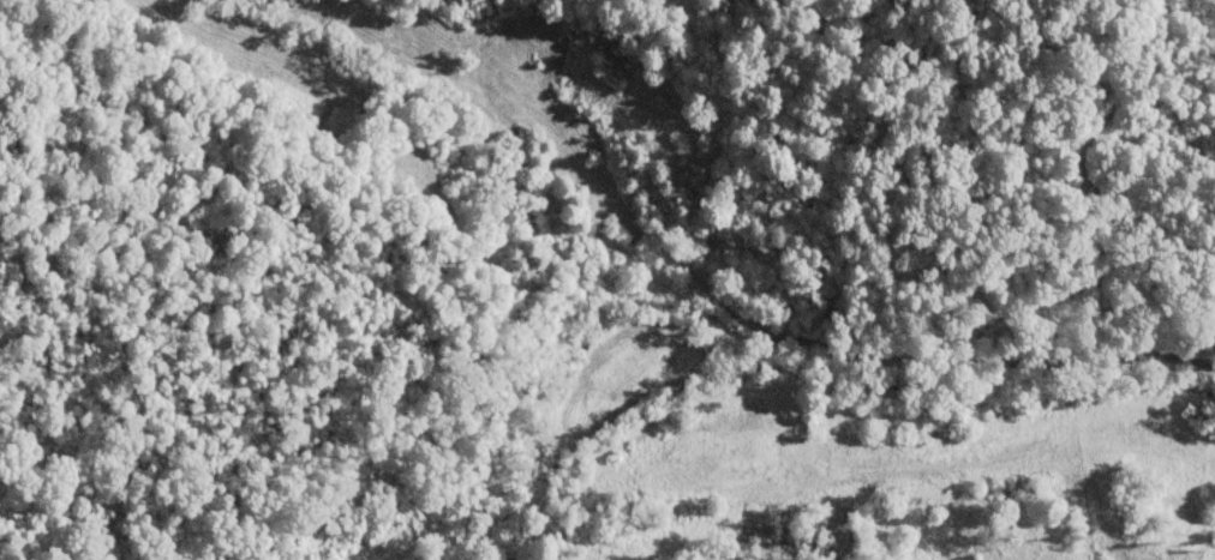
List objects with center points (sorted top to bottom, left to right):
road: (998, 369)
road: (773, 426)

